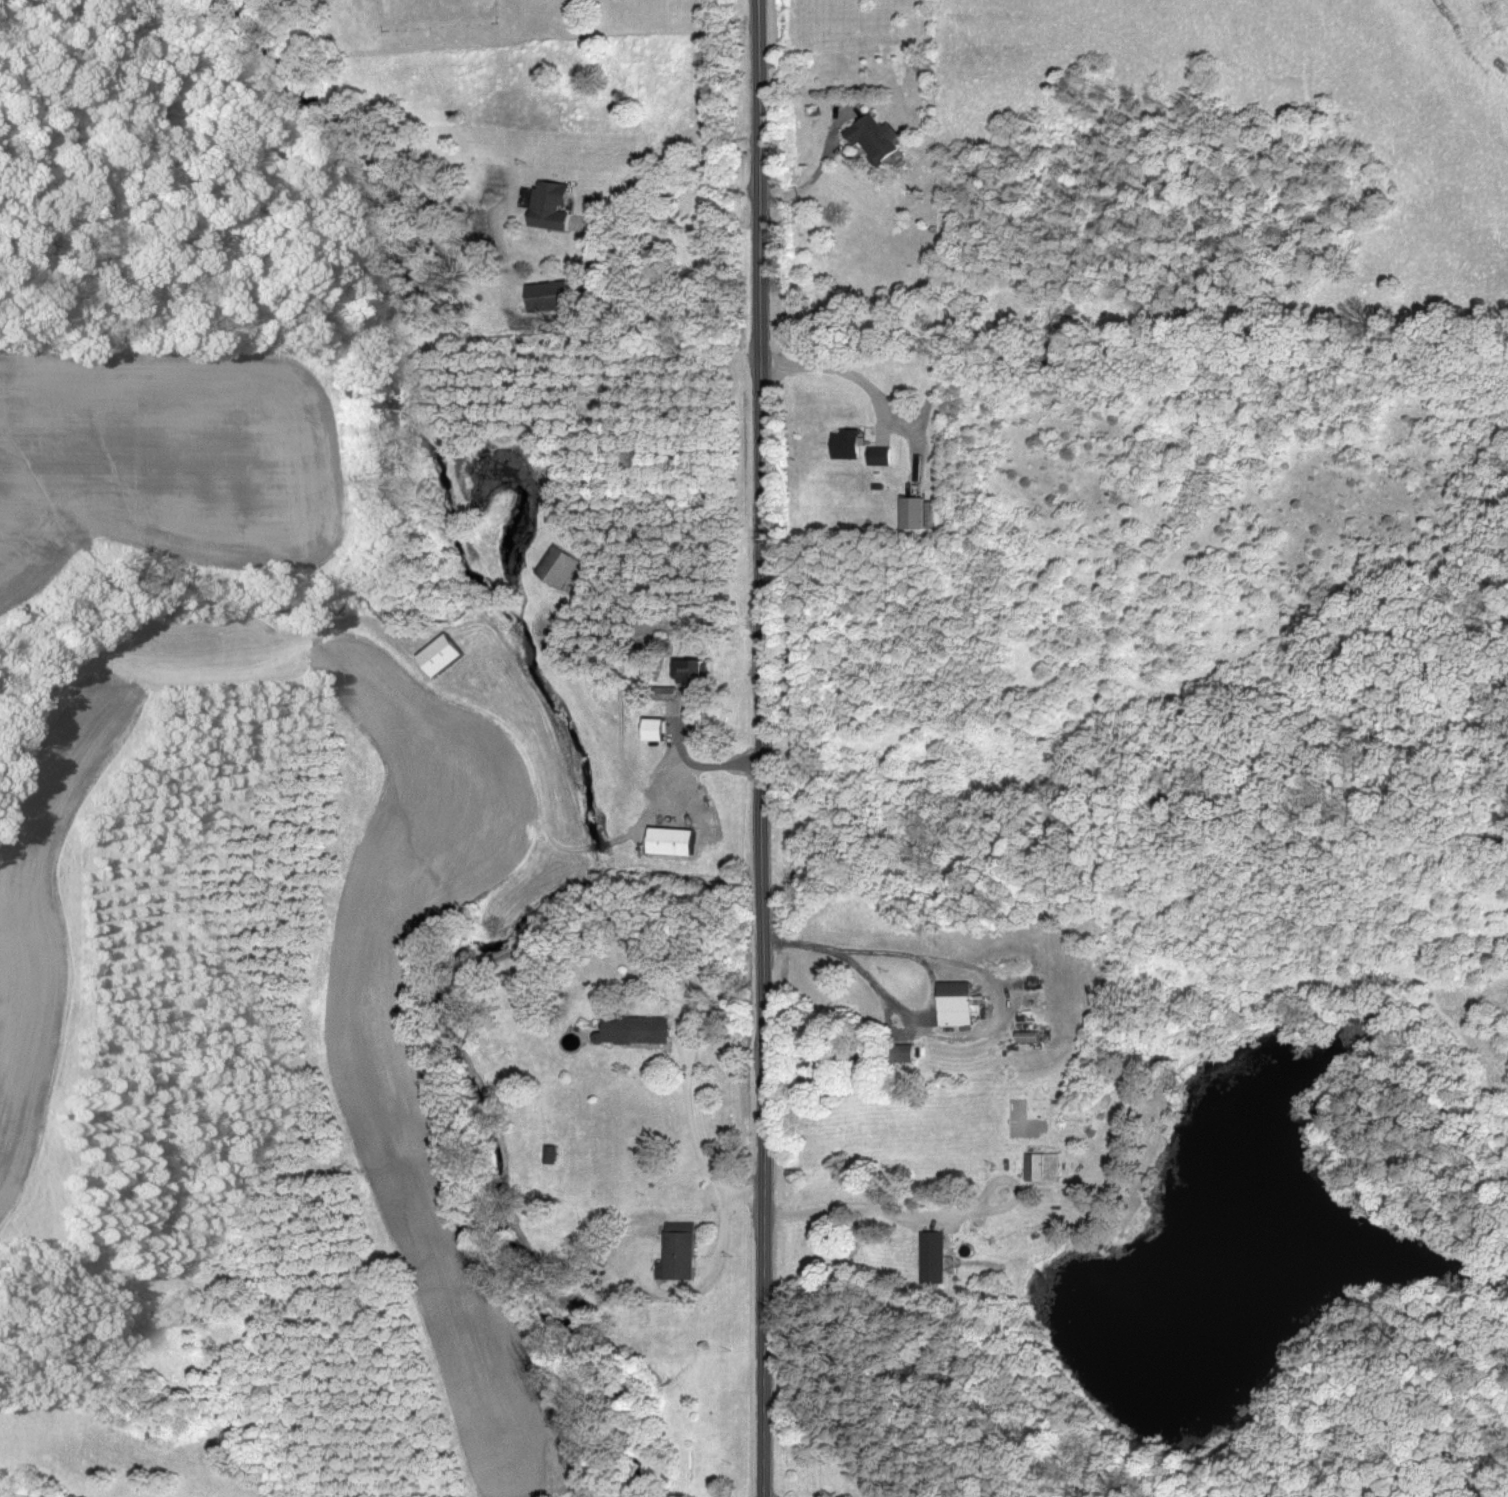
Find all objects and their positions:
building: (876, 140)
building: (553, 207)
building: (551, 298)
road: (832, 366)
building: (849, 445)
building: (881, 457)
building: (916, 515)
building: (559, 568)
building: (443, 657)
building: (693, 673)
building: (670, 695)
building: (658, 731)
road: (759, 748)
building: (674, 843)
road: (923, 957)
building: (958, 1005)
building: (637, 1032)
building: (1031, 1038)
building: (907, 1055)
road: (689, 1129)
building: (1045, 1169)
road: (848, 1204)
building: (682, 1253)
building: (935, 1259)

